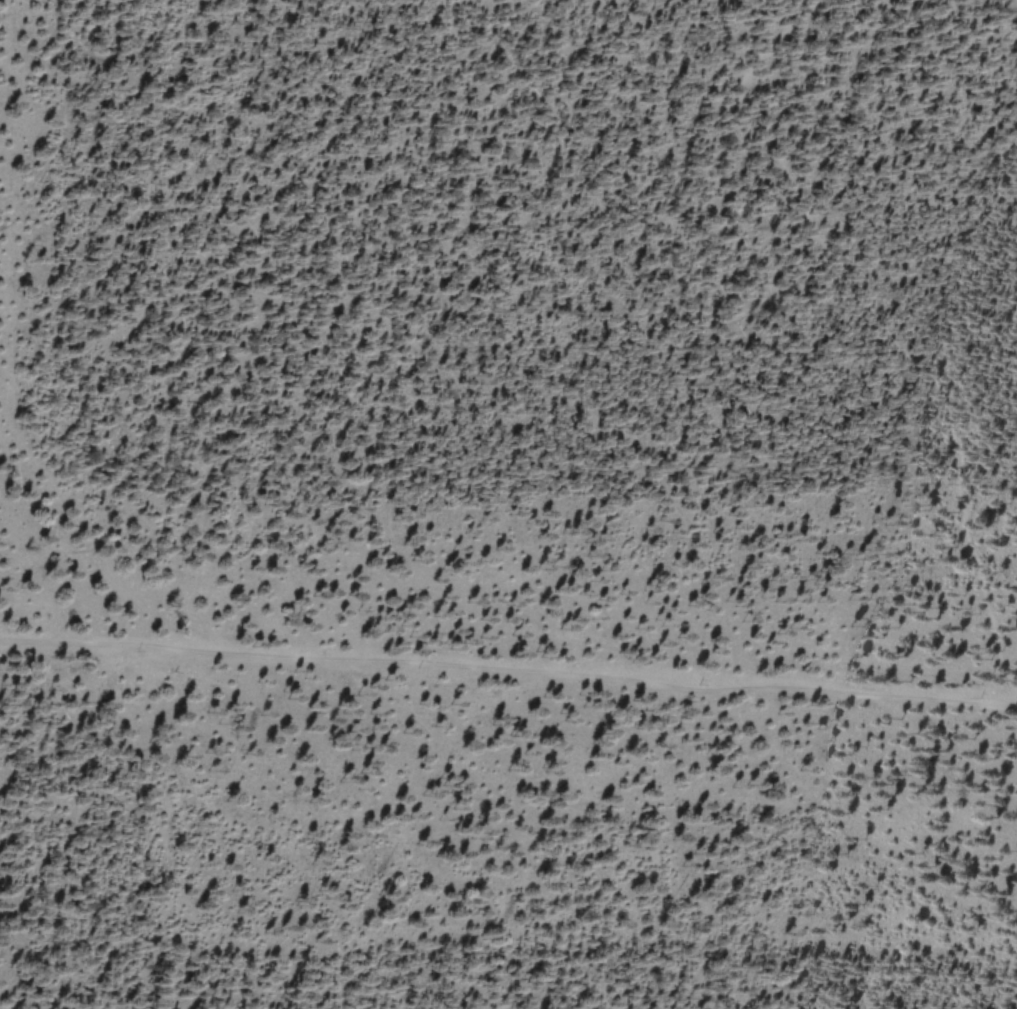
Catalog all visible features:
road: (884, 316)
road: (508, 671)

